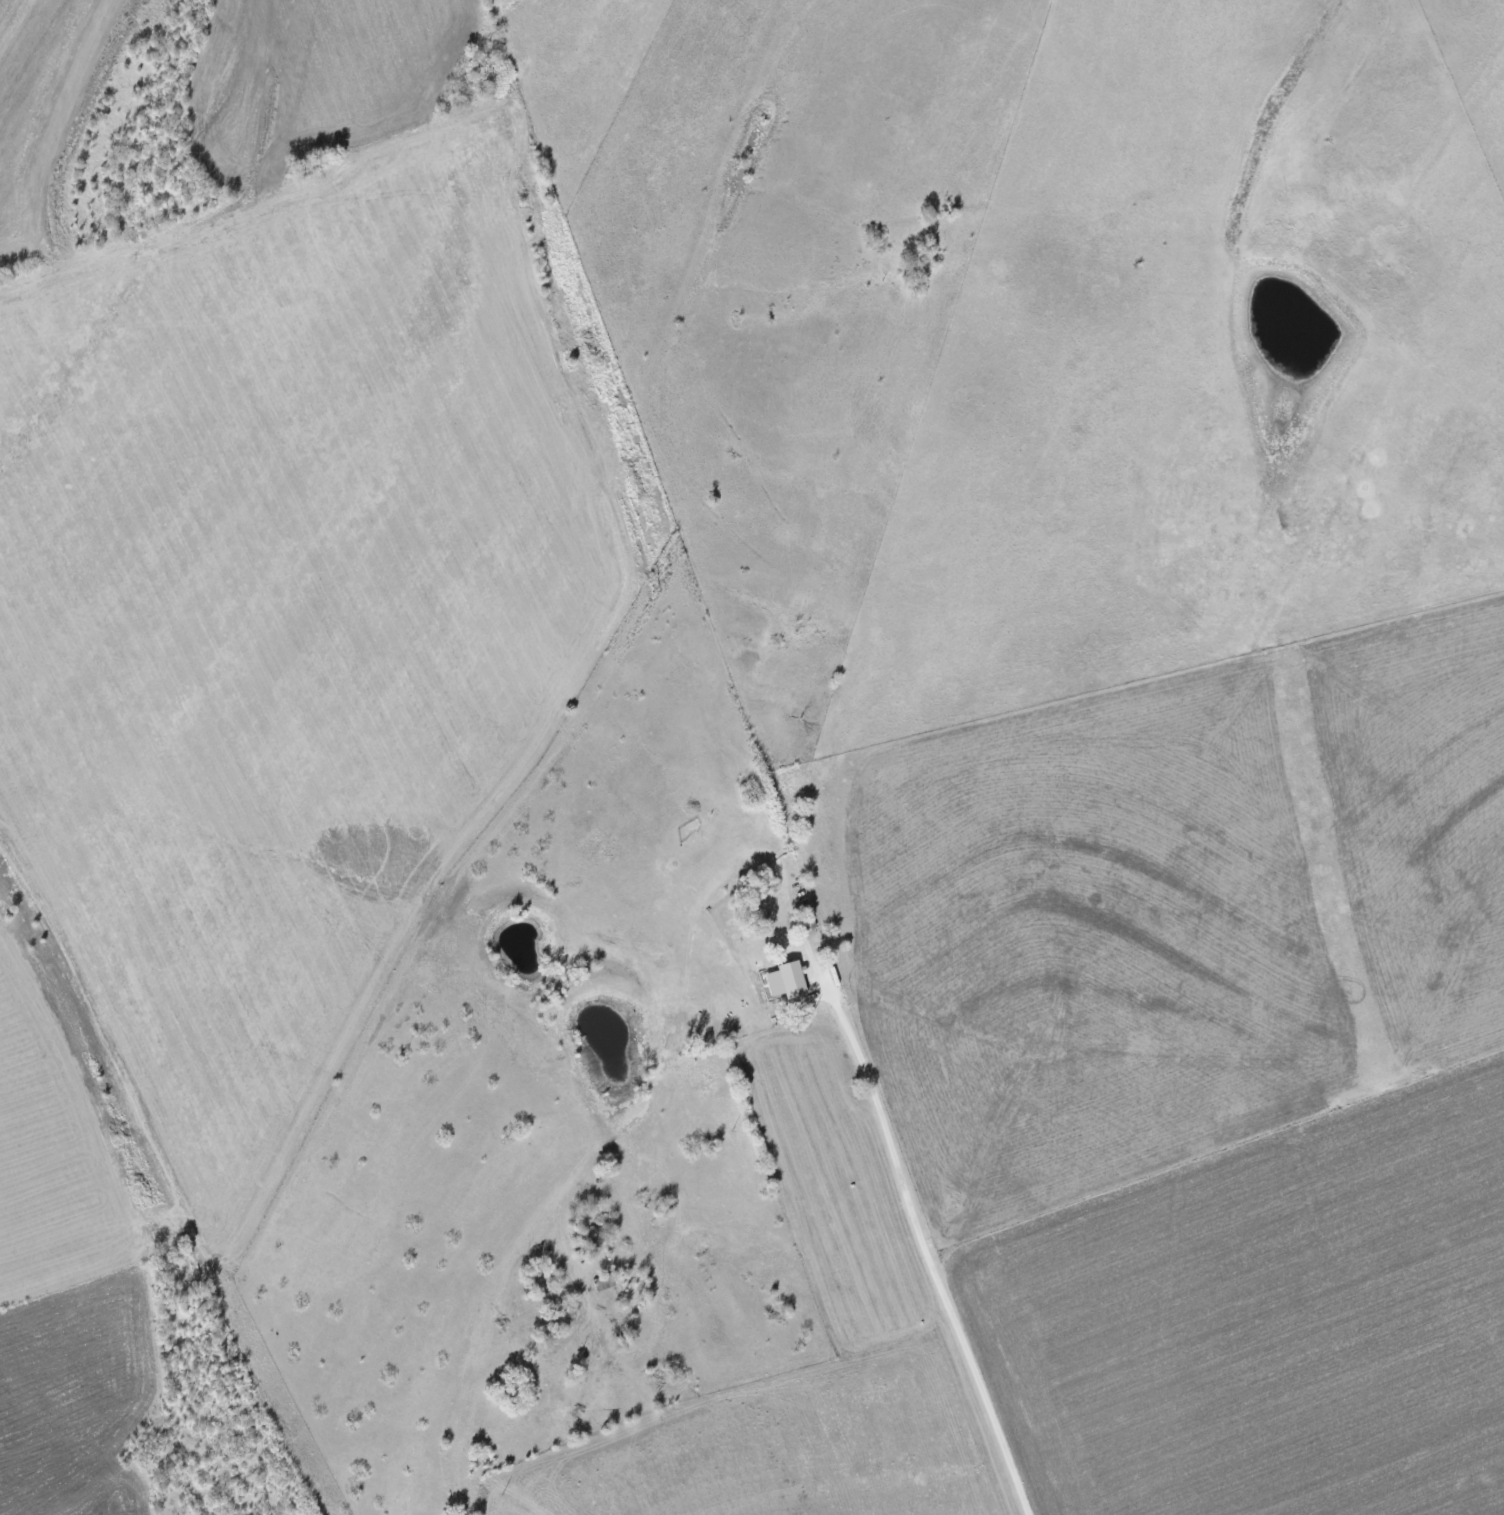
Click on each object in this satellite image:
building: (792, 978)
road: (930, 1277)

